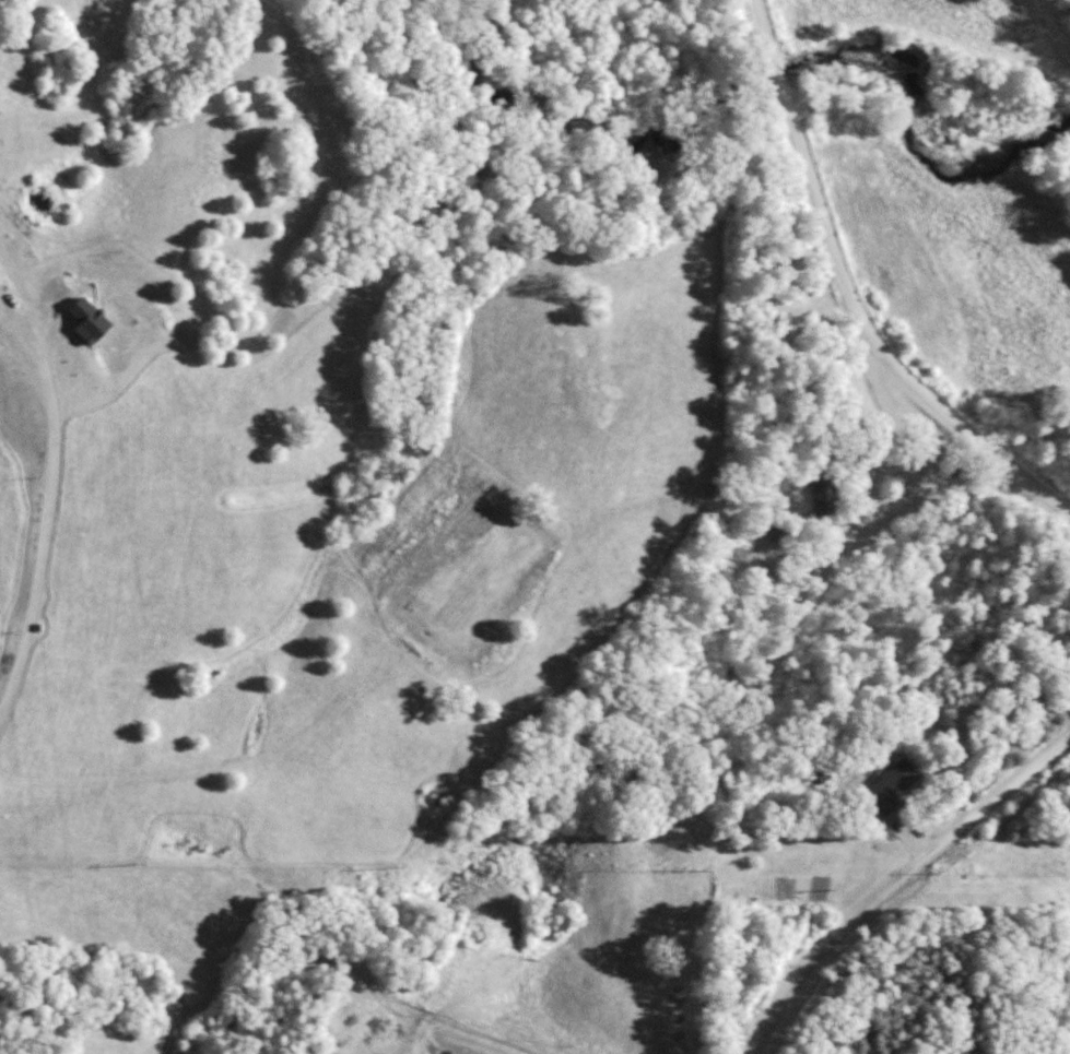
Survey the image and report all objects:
building: (0, 276)
road: (853, 288)
building: (87, 320)
building: (961, 470)
building: (824, 499)
building: (890, 783)
road: (886, 881)

